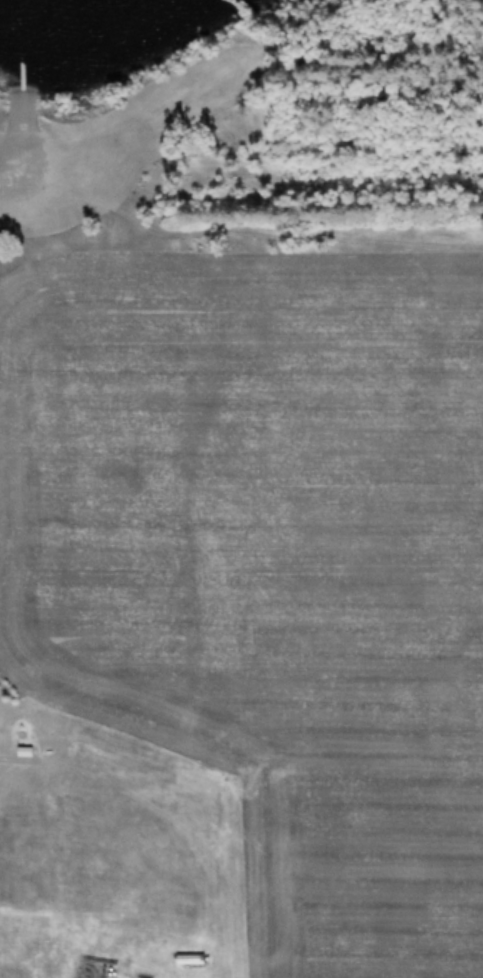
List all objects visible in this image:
building: (20, 750)

